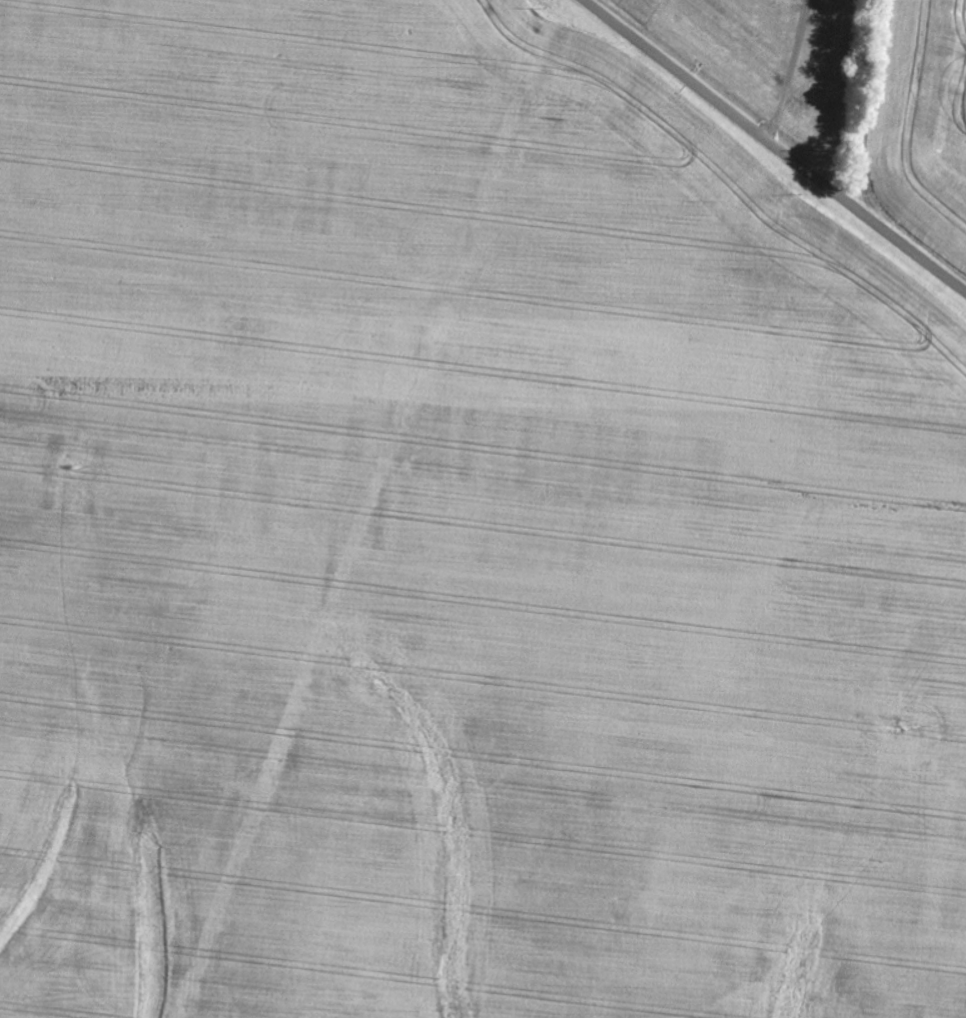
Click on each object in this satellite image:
road: (773, 147)

